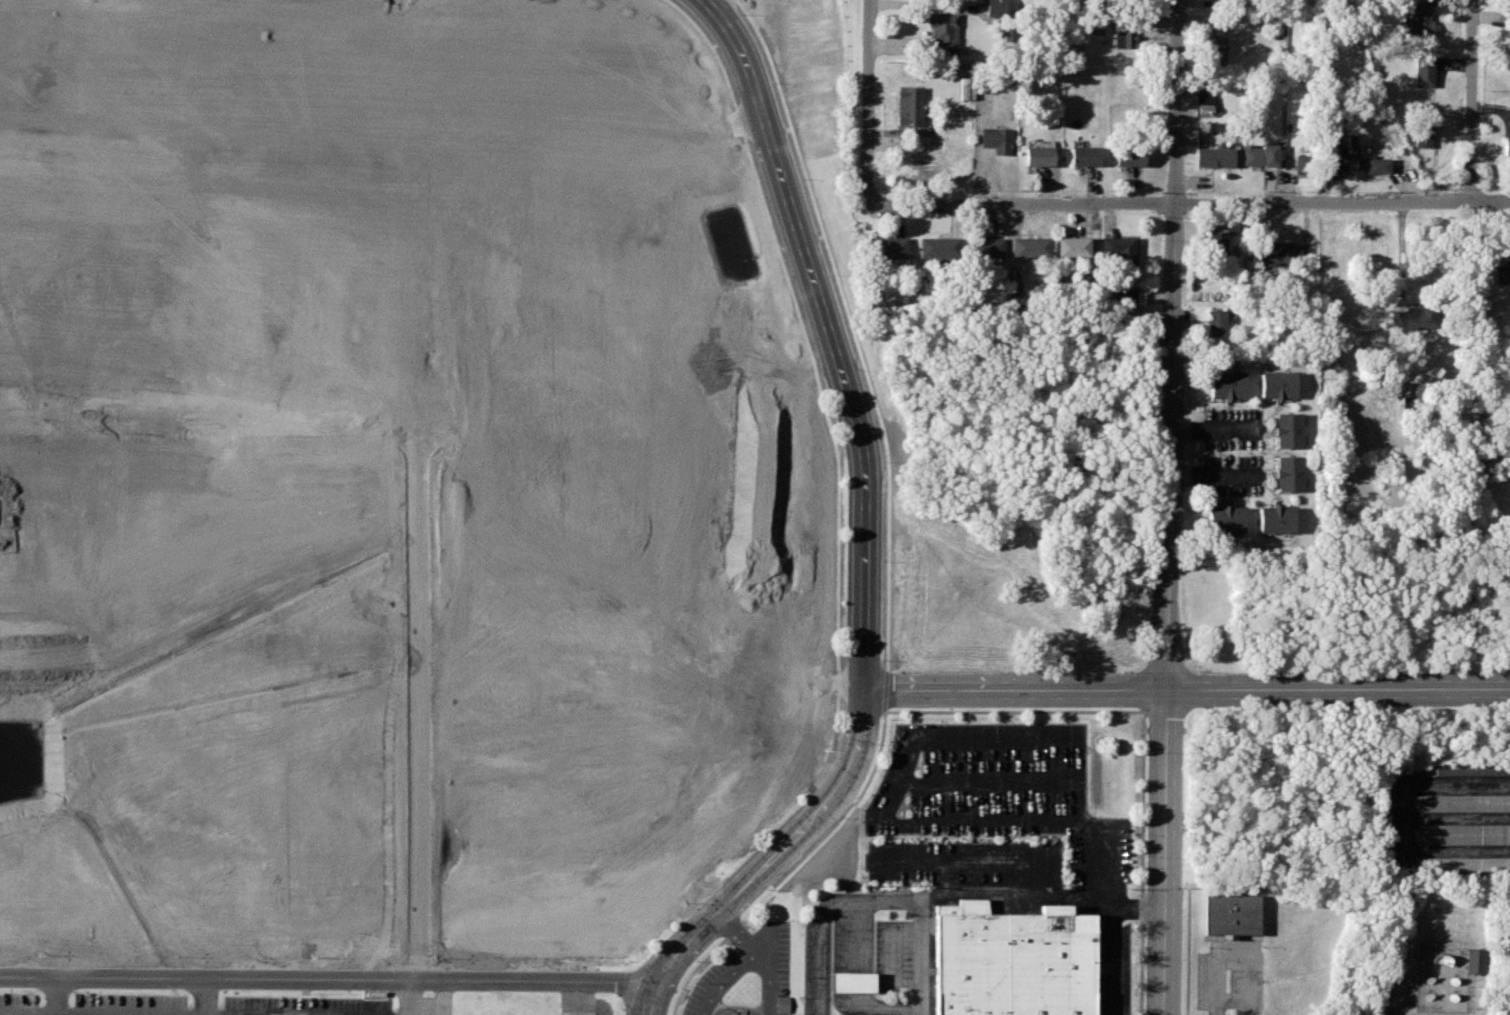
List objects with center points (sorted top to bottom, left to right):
road: (924, 5)
building: (996, 7)
building: (1419, 19)
building: (945, 30)
building: (1124, 38)
building: (1215, 49)
building: (1424, 70)
building: (966, 88)
road: (866, 101)
building: (1204, 102)
road: (1472, 102)
building: (910, 107)
building: (1422, 131)
building: (996, 139)
building: (1507, 146)
building: (1084, 153)
building: (1259, 154)
building: (1039, 155)
building: (1130, 155)
building: (1214, 156)
building: (1372, 163)
building: (1304, 164)
building: (1332, 165)
road: (1023, 203)
road: (1341, 203)
building: (1216, 239)
building: (938, 245)
building: (987, 245)
building: (887, 246)
building: (1030, 246)
building: (1071, 246)
building: (1120, 250)
building: (1507, 251)
building: (1277, 253)
road: (1400, 255)
building: (1500, 272)
building: (1123, 297)
building: (1413, 316)
building: (1216, 322)
building: (1278, 385)
building: (1228, 386)
road: (21, 410)
road: (1212, 427)
building: (1288, 430)
parking lot: (1235, 452)
building: (1289, 473)
road: (1213, 474)
road: (1172, 507)
building: (1276, 519)
building: (1226, 520)
road: (868, 532)
road: (1019, 689)
road: (1340, 691)
parking lot: (1001, 791)
building: (1461, 802)
building: (1462, 833)
road: (1099, 858)
parking lot: (965, 861)
road: (979, 862)
building: (1462, 864)
road: (993, 899)
building: (1229, 913)
road: (736, 934)
road: (756, 953)
parking lot: (894, 955)
road: (924, 957)
road: (1235, 959)
road: (1111, 960)
building: (1476, 960)
building: (1013, 961)
road: (821, 963)
parking lot: (1112, 965)
parking lot: (817, 966)
road: (842, 970)
road: (893, 971)
road: (328, 974)
parking lot: (748, 978)
road: (862, 981)
building: (852, 982)
road: (414, 995)
road: (52, 996)
road: (204, 996)
road: (577, 996)
parking lot: (304, 1002)
building: (782, 1003)
parking lot: (421, 1004)
parking lot: (582, 1005)
road: (735, 1010)

